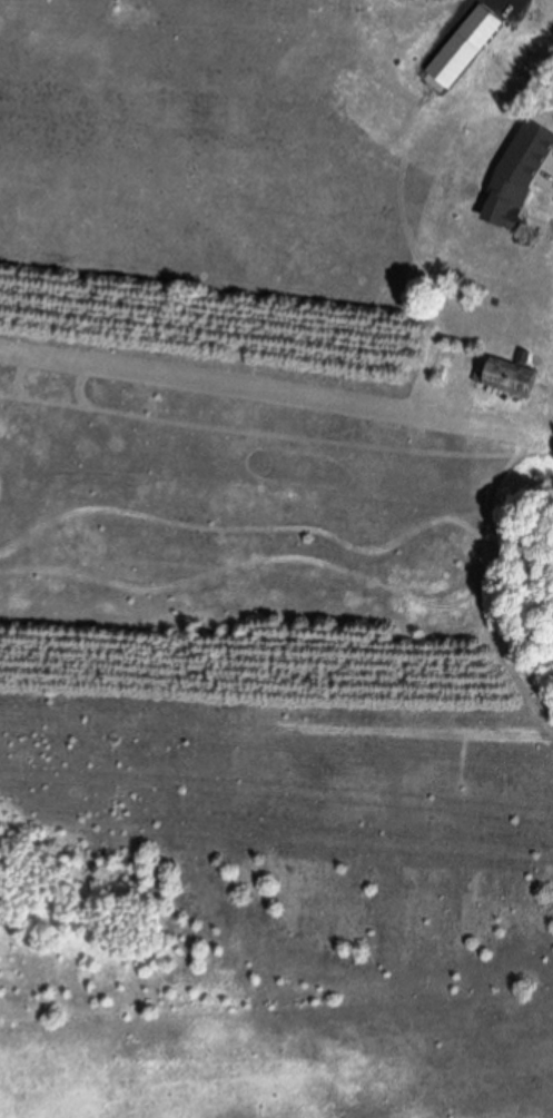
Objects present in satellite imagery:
building: (471, 47)
building: (507, 211)
building: (510, 378)

